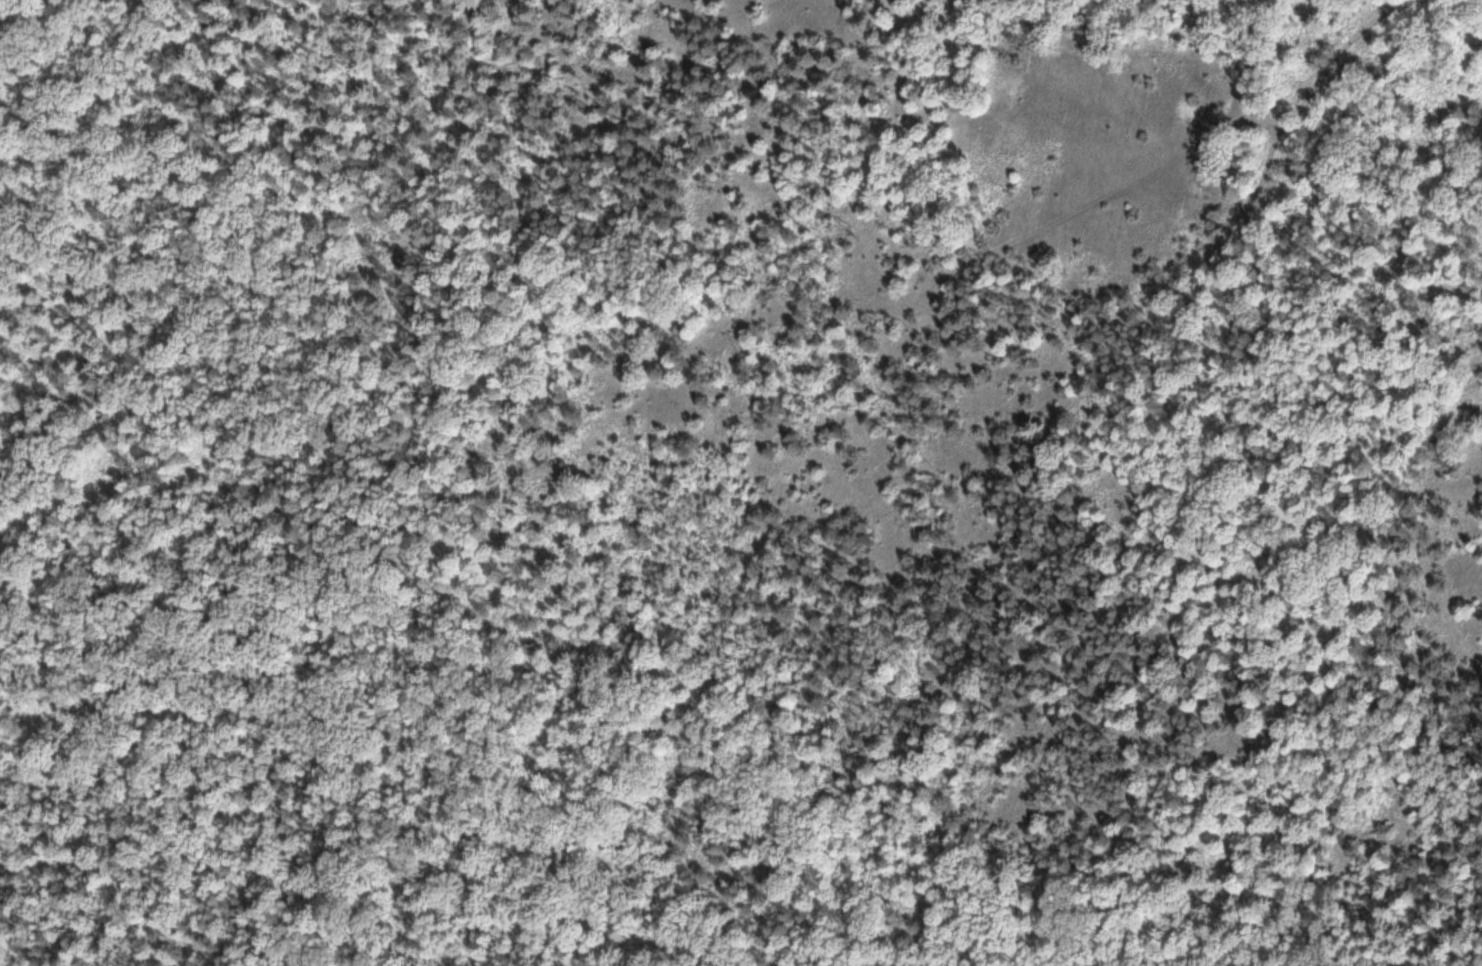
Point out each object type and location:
road: (1341, 51)
road: (1206, 182)

